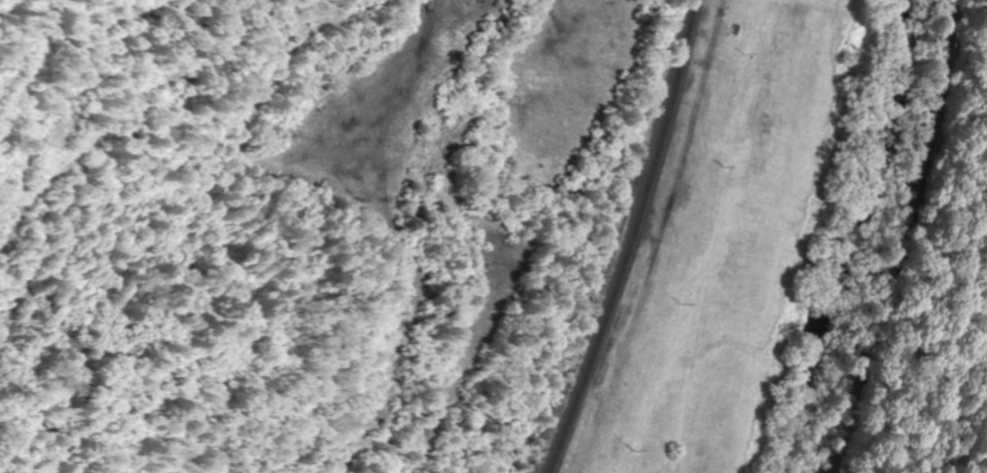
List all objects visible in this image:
road: (903, 239)
railway: (632, 240)
river: (855, 240)

